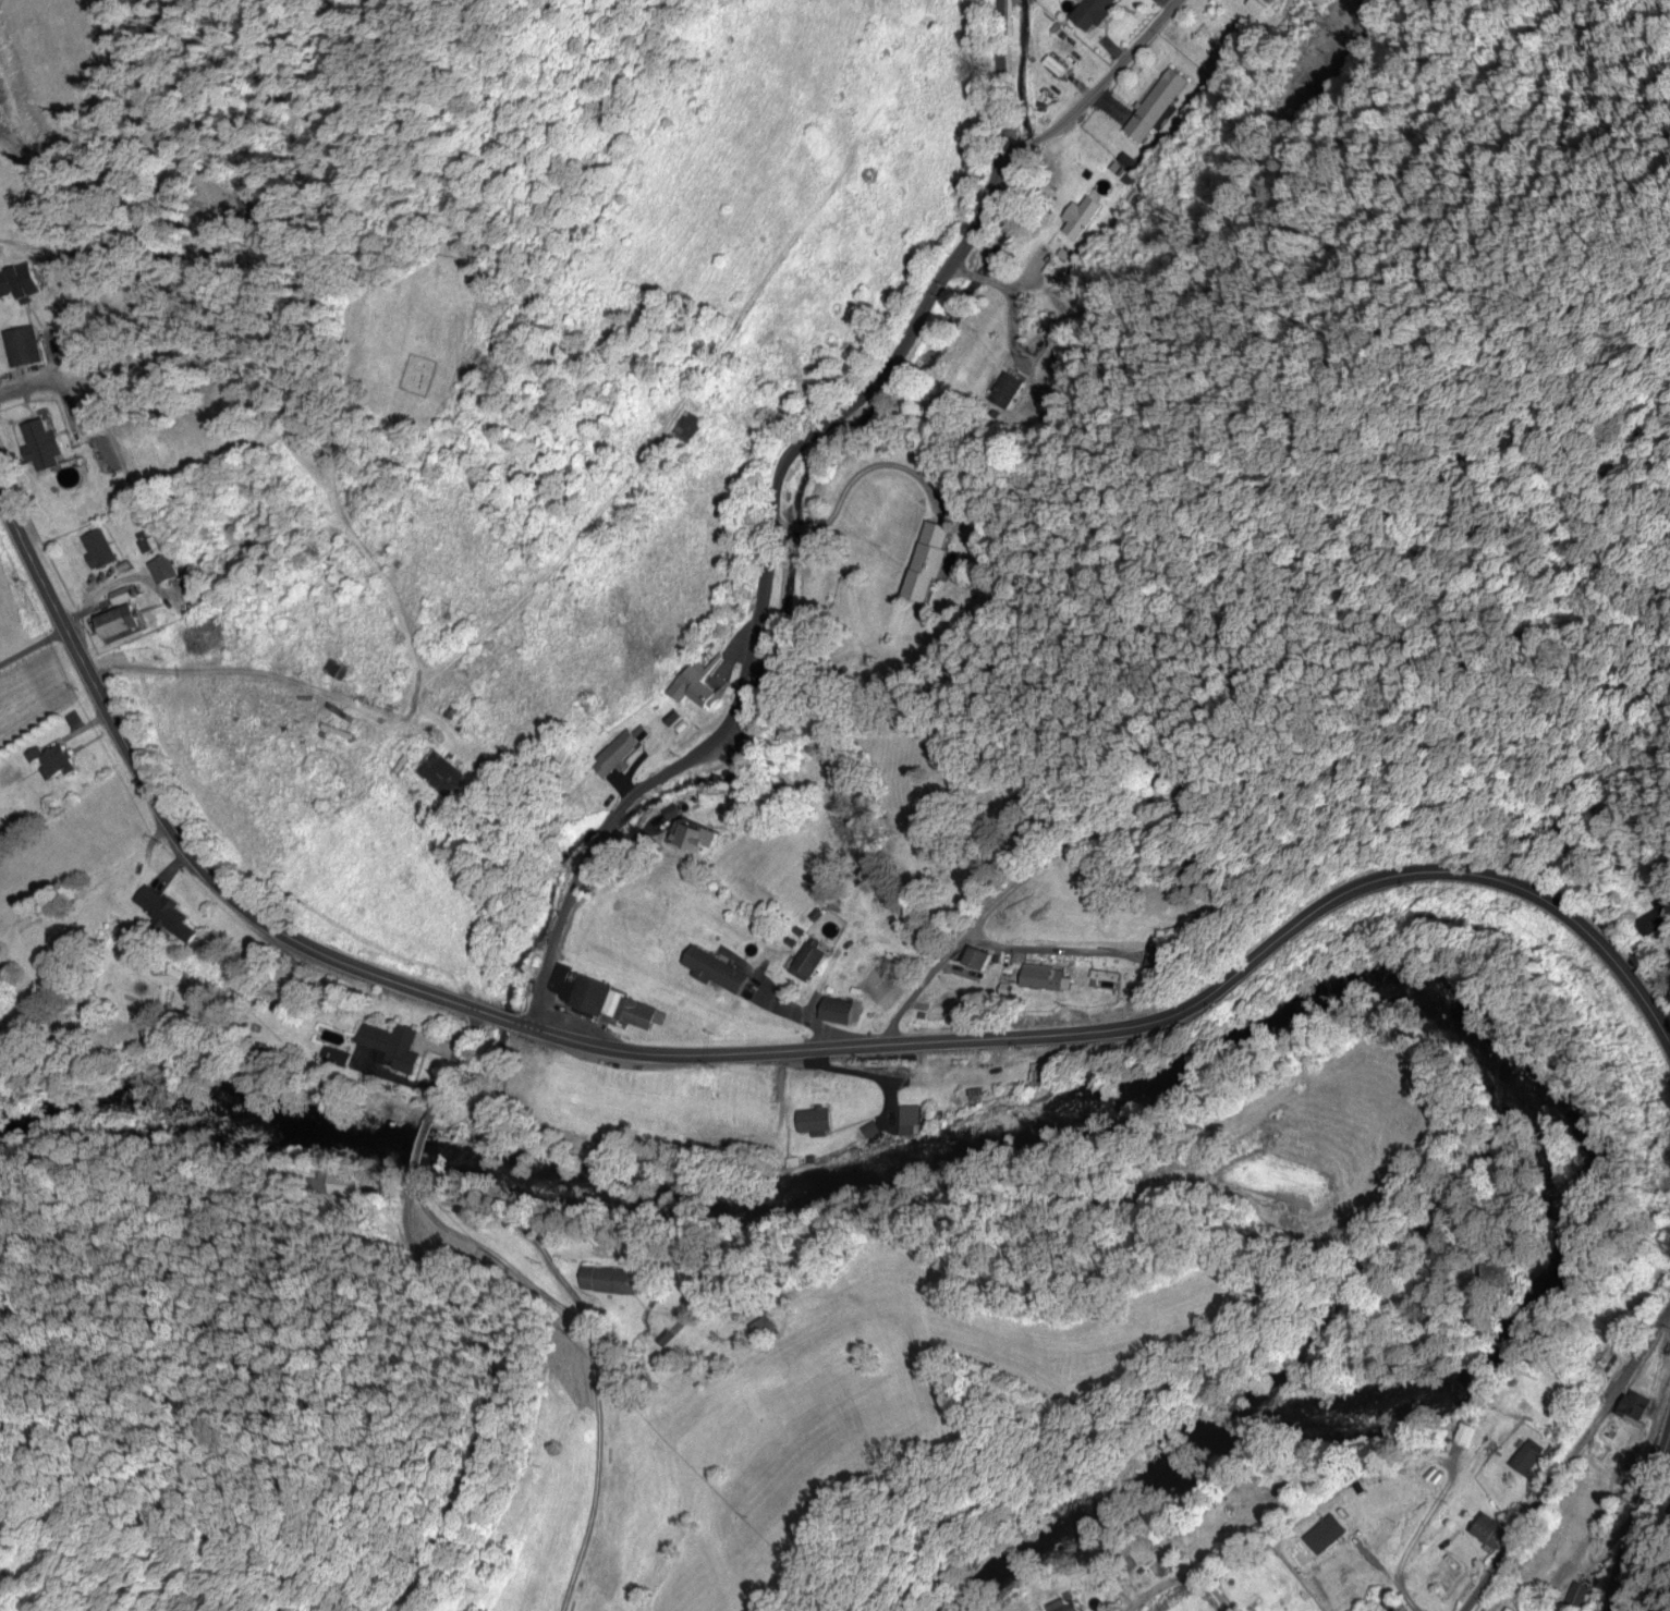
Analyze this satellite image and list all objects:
building: (1256, 4)
building: (1089, 13)
building: (1052, 28)
building: (1060, 35)
building: (1070, 42)
road: (1125, 60)
building: (1052, 66)
building: (1320, 72)
building: (1155, 107)
road: (1039, 134)
building: (1127, 162)
building: (1114, 169)
building: (1086, 175)
building: (1126, 181)
building: (1078, 218)
building: (1062, 255)
road: (960, 269)
building: (1047, 269)
road: (1029, 277)
road: (983, 279)
building: (9, 283)
road: (1013, 316)
building: (22, 347)
building: (1004, 390)
building: (992, 415)
road: (831, 417)
building: (687, 427)
building: (37, 447)
road: (875, 467)
building: (952, 497)
road: (778, 512)
road: (796, 525)
building: (95, 549)
building: (926, 561)
building: (161, 571)
building: (118, 623)
building: (334, 671)
building: (698, 685)
building: (671, 718)
building: (680, 727)
building: (618, 753)
building: (52, 762)
building: (439, 776)
building: (1162, 788)
building: (669, 809)
road: (171, 826)
road: (602, 828)
building: (694, 839)
road: (170, 863)
building: (164, 915)
building: (817, 915)
building: (1654, 919)
road: (971, 929)
building: (799, 932)
road: (554, 933)
building: (789, 943)
building: (975, 959)
building: (995, 960)
building: (808, 961)
building: (1158, 961)
building: (715, 971)
building: (1102, 975)
building: (1043, 978)
building: (1003, 989)
building: (585, 993)
building: (837, 1011)
building: (638, 1013)
building: (566, 1014)
gas station: (566, 1014)
building: (921, 1015)
road: (501, 1018)
road: (1151, 1023)
river: (1233, 1044)
building: (391, 1048)
road: (451, 1064)
building: (1038, 1073)
building: (971, 1091)
building: (907, 1121)
building: (814, 1122)
building: (868, 1131)
road: (418, 1152)
building: (800, 1162)
road: (436, 1218)
road: (515, 1231)
building: (1626, 1274)
building: (1656, 1277)
building: (608, 1282)
building: (761, 1331)
building: (1601, 1358)
road: (592, 1399)
building: (1632, 1406)
road: (477, 1411)
building: (1462, 1436)
building: (1548, 1451)
building: (1525, 1460)
road: (1567, 1461)
building: (1620, 1466)
building: (1428, 1474)
building: (1435, 1478)
building: (1246, 1504)
building: (1517, 1509)
road: (1641, 1517)
road: (1425, 1525)
building: (1324, 1530)
building: (1487, 1534)
building: (1256, 1560)
building: (1416, 1562)
building: (1594, 1573)
road: (1387, 1578)
road: (1165, 1581)
building: (1575, 1597)
road: (1219, 1600)
building: (1388, 1604)
building: (1252, 1606)
building: (1059, 1607)
building: (1483, 1610)
building: (1507, 1610)

